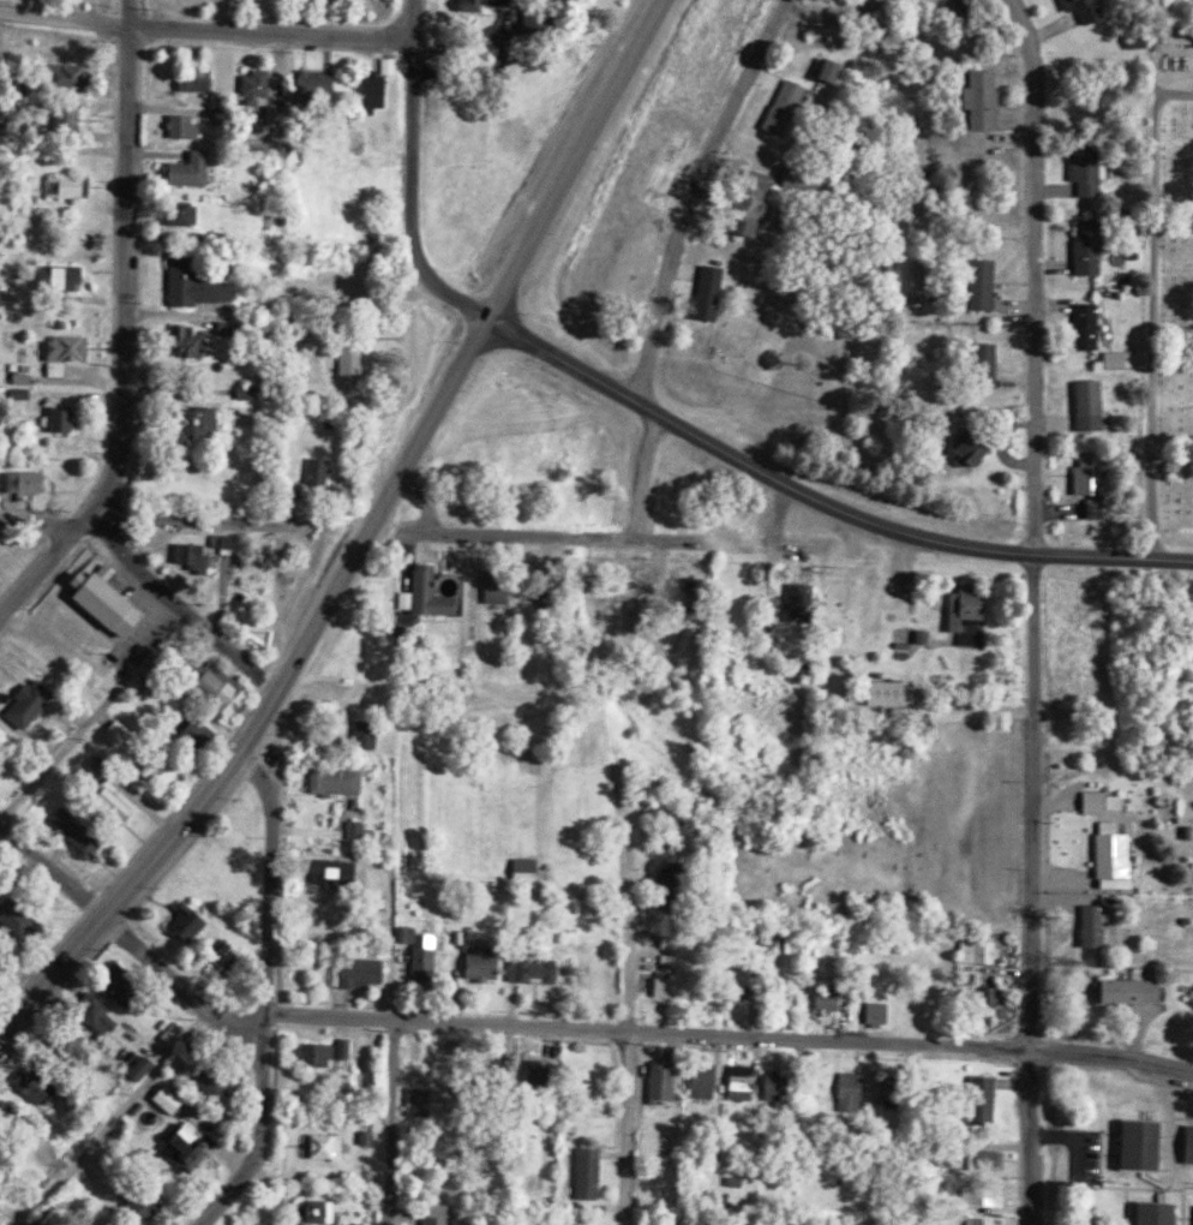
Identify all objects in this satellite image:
building: (889, 0)
building: (490, 4)
building: (1079, 7)
road: (62, 19)
building: (545, 19)
road: (269, 31)
building: (1171, 31)
building: (838, 67)
building: (826, 68)
building: (65, 76)
building: (199, 76)
building: (317, 85)
building: (265, 88)
building: (374, 90)
building: (976, 98)
building: (778, 104)
building: (793, 106)
building: (66, 118)
building: (185, 122)
road: (410, 137)
building: (192, 167)
building: (1079, 168)
building: (67, 186)
road: (691, 192)
building: (745, 198)
road: (1171, 201)
building: (766, 202)
building: (181, 211)
building: (1081, 244)
building: (60, 275)
building: (973, 281)
building: (194, 282)
building: (703, 288)
building: (718, 292)
park: (1165, 293)
road: (454, 295)
road: (1147, 307)
building: (1079, 323)
road: (122, 325)
building: (197, 340)
road: (1170, 346)
building: (65, 351)
building: (1109, 357)
building: (979, 361)
building: (29, 377)
building: (254, 390)
building: (1083, 404)
building: (60, 418)
building: (212, 422)
building: (966, 446)
road: (1170, 459)
building: (326, 470)
road: (640, 472)
building: (1083, 472)
building: (25, 479)
road: (820, 500)
road: (40, 518)
road: (166, 518)
road: (517, 533)
building: (217, 536)
road: (365, 539)
building: (238, 544)
building: (186, 551)
building: (506, 586)
building: (802, 592)
building: (434, 593)
building: (97, 599)
road: (178, 606)
road: (1032, 610)
building: (969, 612)
building: (647, 615)
building: (233, 687)
building: (887, 692)
building: (25, 698)
building: (37, 703)
road: (89, 710)
building: (126, 733)
building: (373, 735)
building: (168, 767)
building: (346, 781)
building: (1102, 801)
building: (364, 829)
building: (85, 831)
building: (1113, 850)
building: (534, 868)
building: (342, 872)
building: (28, 916)
building: (14, 919)
building: (196, 920)
building: (1095, 925)
building: (679, 939)
building: (988, 950)
building: (428, 951)
building: (491, 962)
building: (541, 968)
building: (370, 970)
building: (682, 986)
building: (132, 987)
building: (1139, 990)
road: (264, 993)
building: (835, 997)
building: (103, 1011)
building: (885, 1012)
road: (560, 1027)
building: (80, 1044)
building: (326, 1051)
road: (628, 1064)
building: (150, 1066)
building: (548, 1071)
building: (712, 1080)
building: (671, 1081)
building: (749, 1081)
building: (223, 1083)
building: (44, 1084)
building: (786, 1084)
building: (893, 1089)
building: (178, 1098)
building: (991, 1099)
building: (427, 1101)
road: (109, 1115)
road: (390, 1122)
building: (374, 1136)
building: (1133, 1141)
building: (1185, 1141)
building: (334, 1145)
building: (191, 1146)
building: (993, 1159)
building: (595, 1171)
building: (743, 1181)
building: (991, 1194)
building: (150, 1201)
building: (328, 1209)
building: (1155, 1212)
building: (449, 1214)
building: (1192, 1214)
road: (1055, 1215)
road: (8, 1217)
building: (991, 1220)

